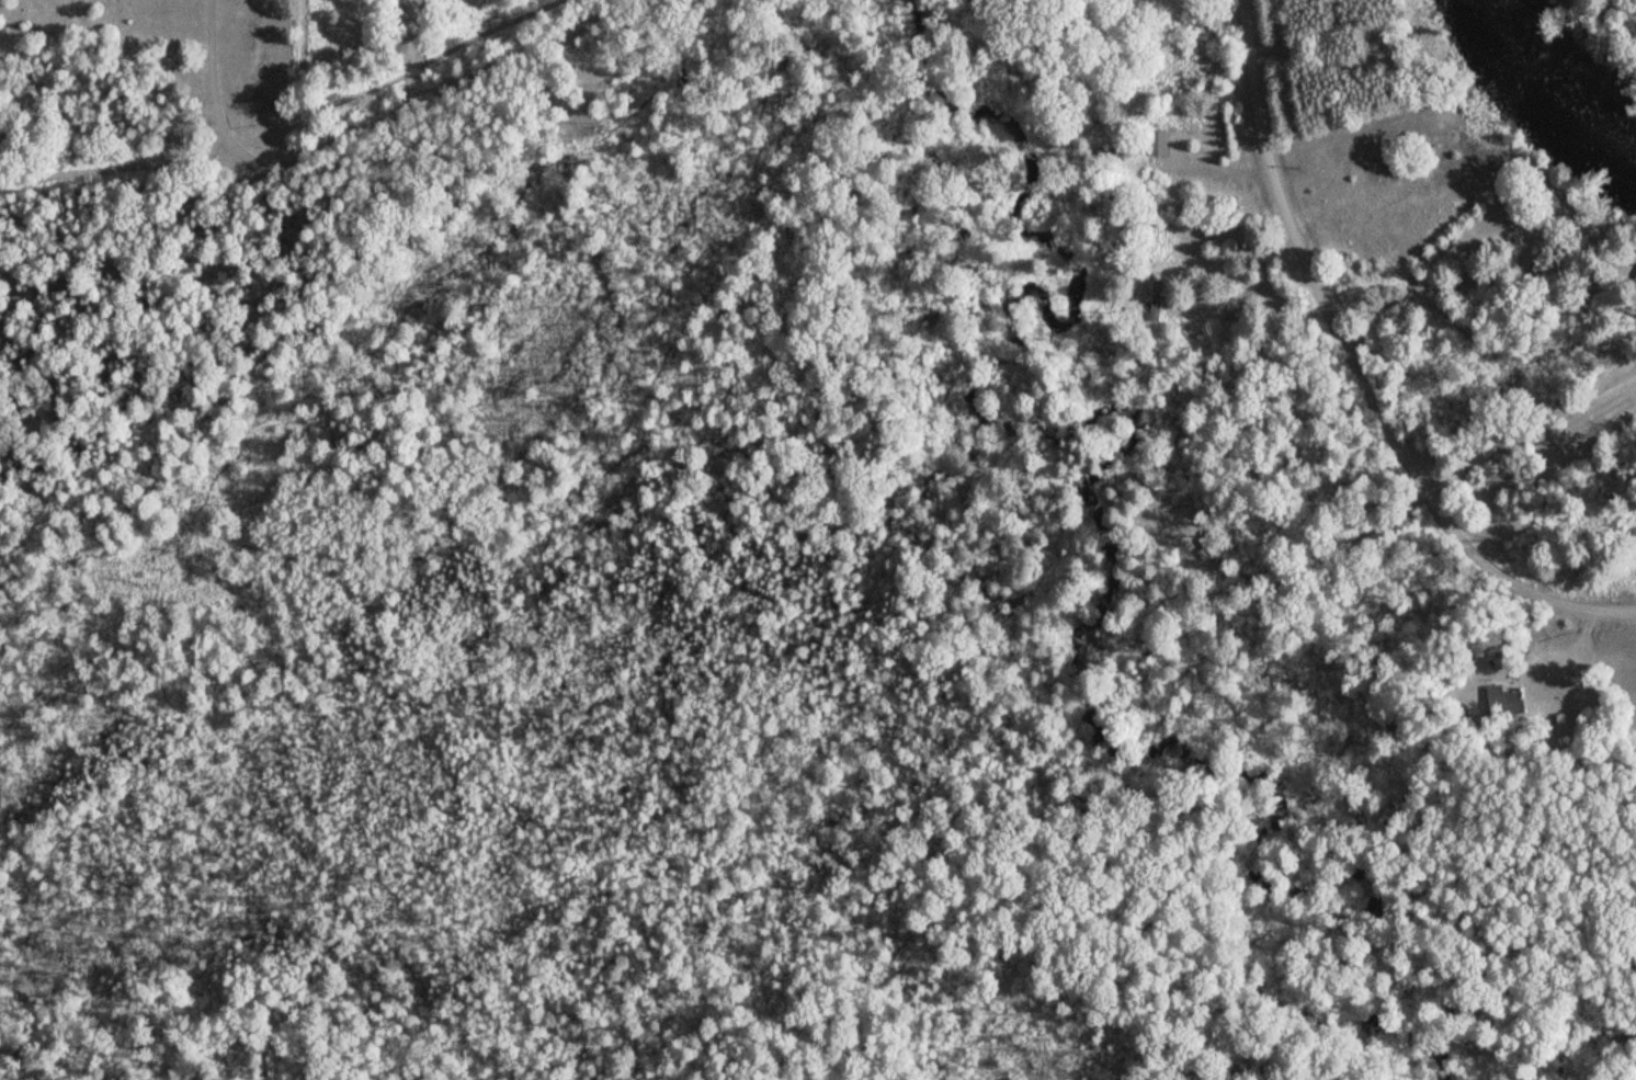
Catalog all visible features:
road: (275, 101)
building: (1161, 143)
road: (317, 184)
road: (3, 194)
building: (1157, 300)
road: (1354, 376)
road: (1522, 425)
building: (1497, 695)

